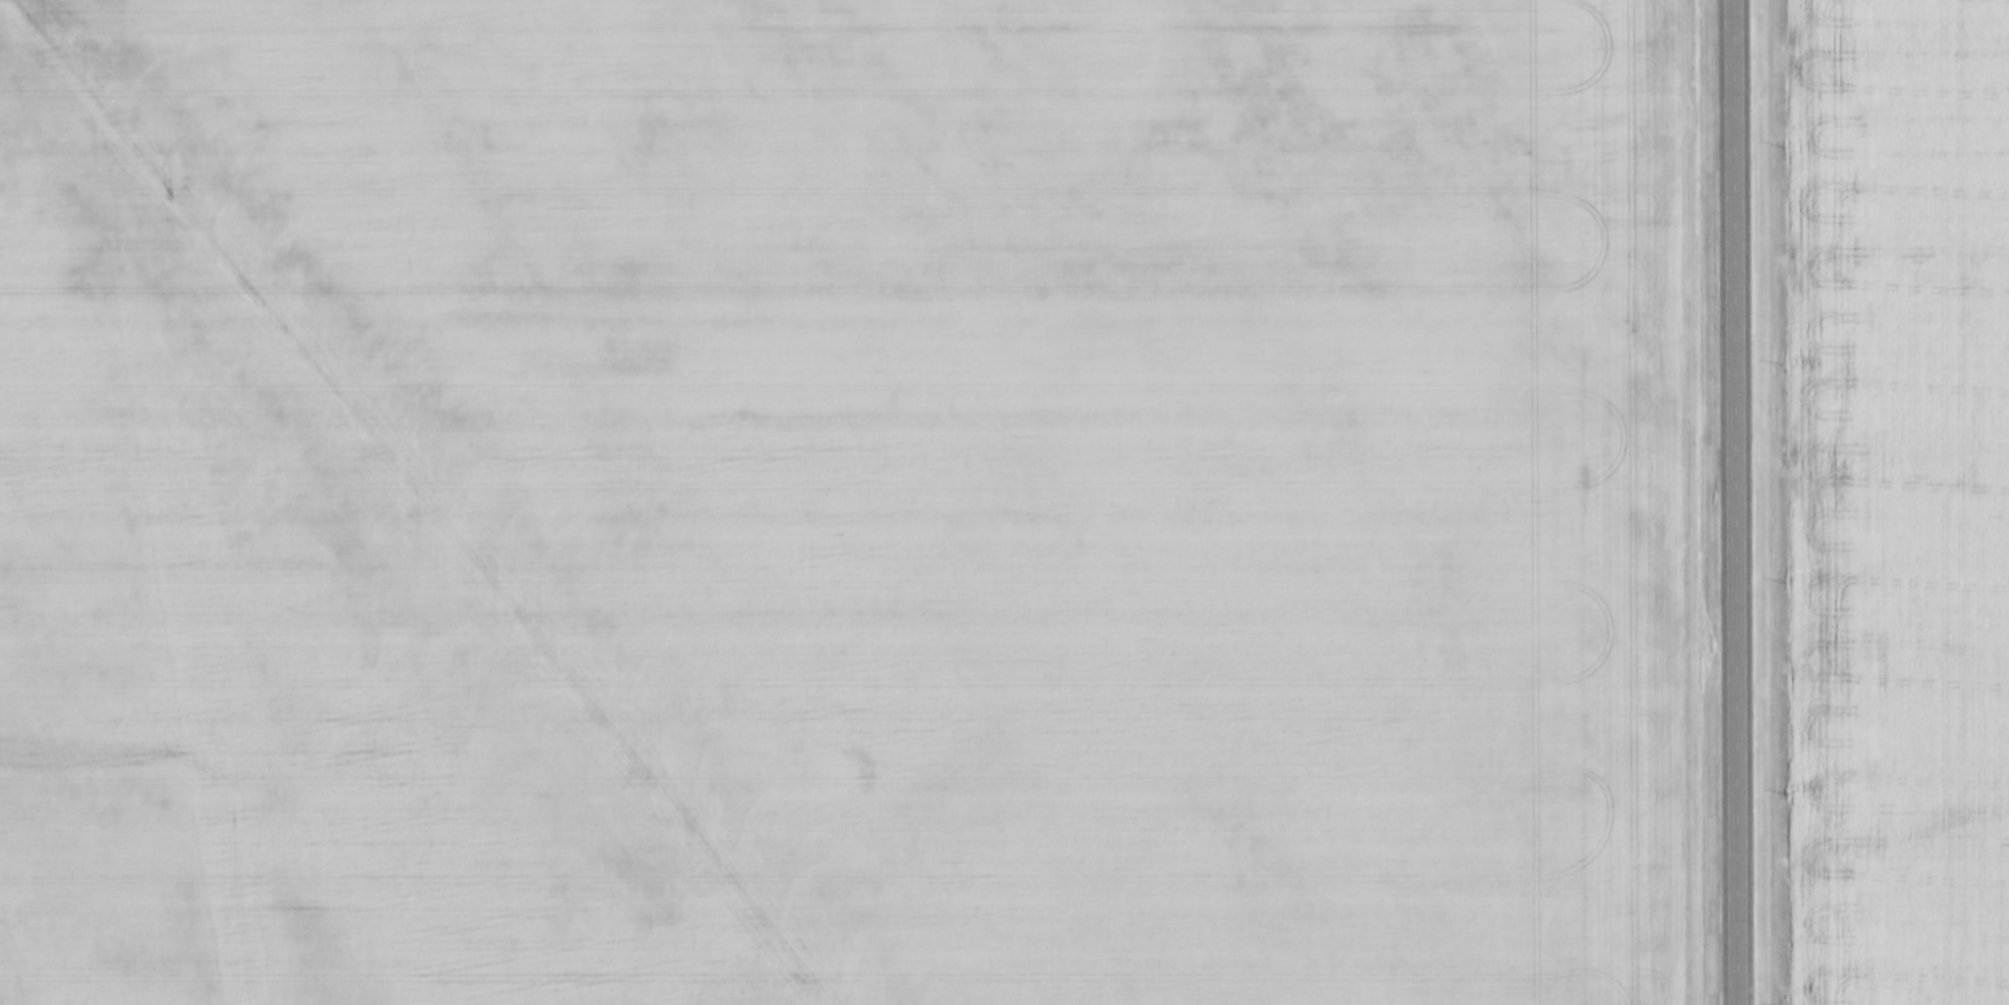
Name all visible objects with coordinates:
crop: (840, 502)
road: (1741, 502)

